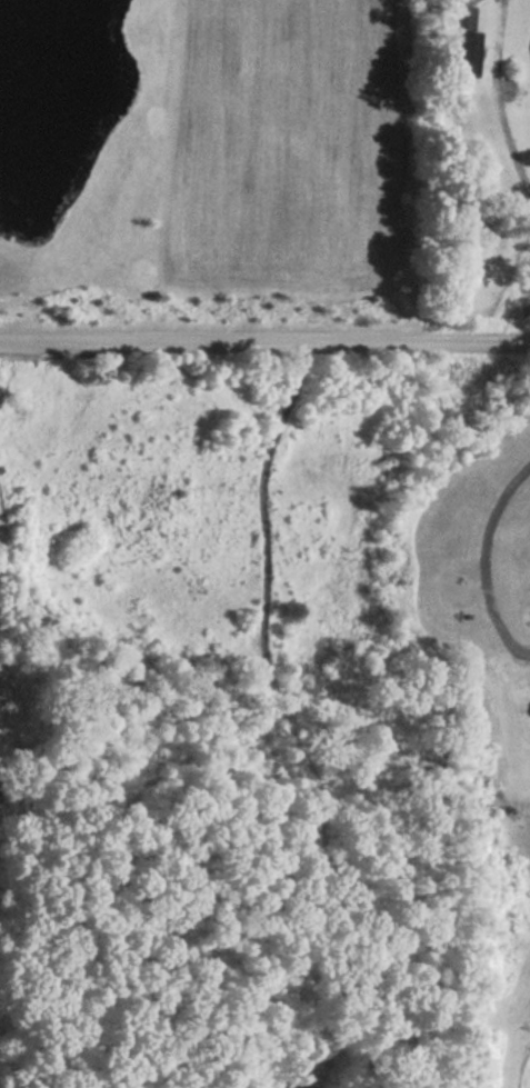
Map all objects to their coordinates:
road: (264, 346)
road: (494, 571)

